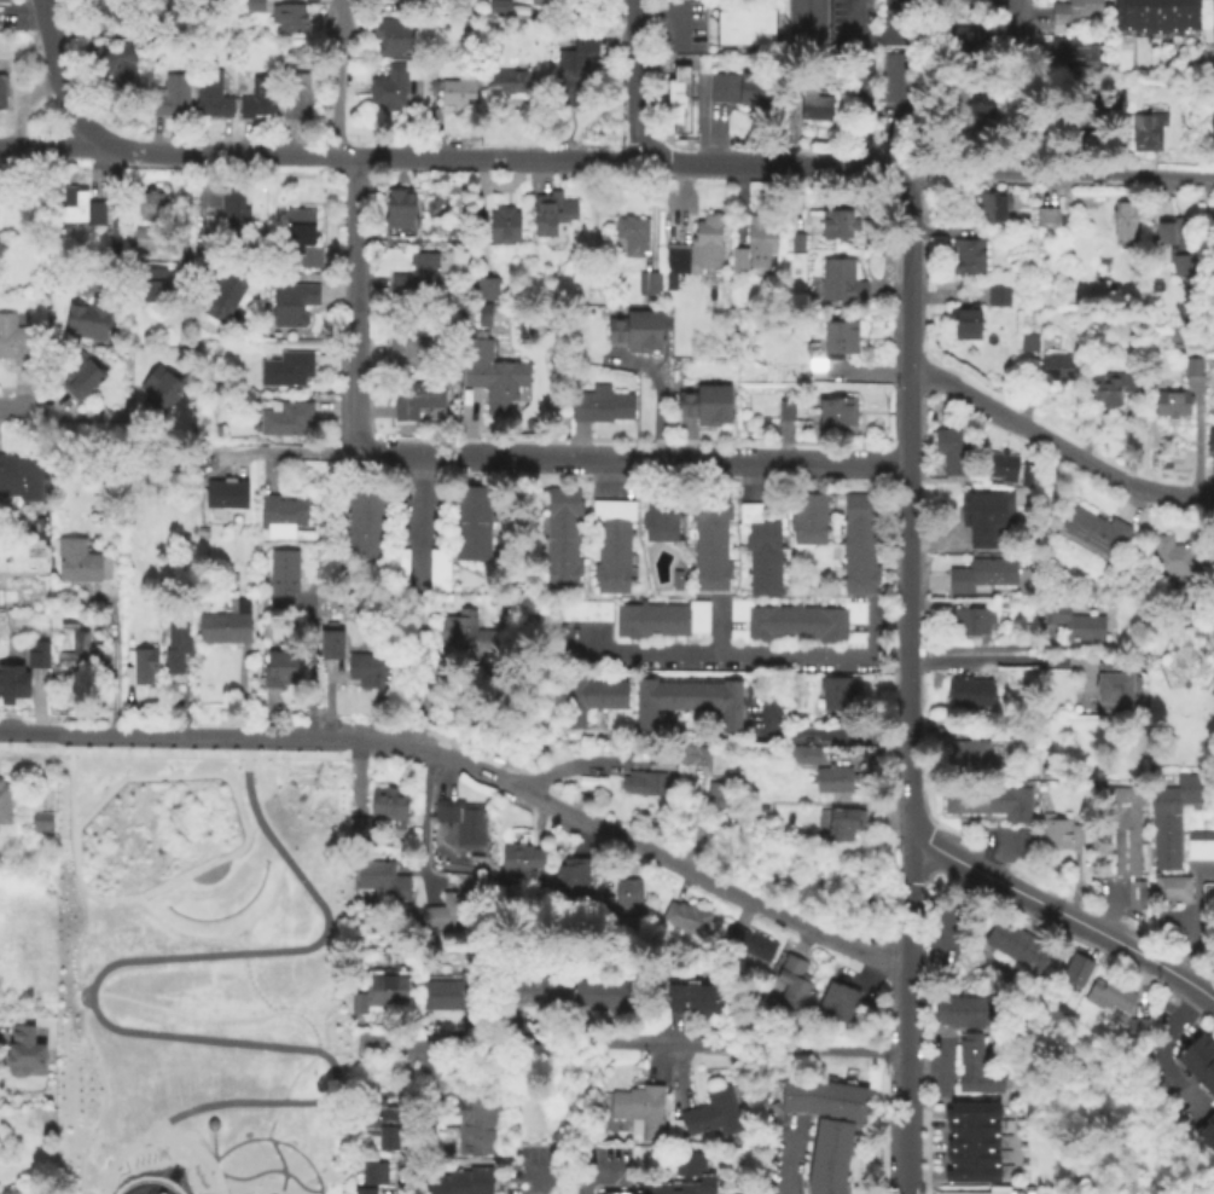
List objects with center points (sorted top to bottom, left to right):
building: (2, 0)
building: (252, 4)
building: (498, 4)
building: (548, 4)
building: (972, 5)
building: (104, 11)
road: (22, 13)
building: (1073, 15)
building: (287, 16)
building: (1140, 16)
building: (1190, 16)
building: (1125, 17)
building: (1157, 18)
building: (1173, 18)
road: (676, 24)
building: (722, 25)
building: (737, 25)
building: (751, 25)
building: (765, 25)
road: (1015, 27)
building: (1212, 27)
building: (805, 29)
building: (394, 35)
road: (867, 45)
building: (962, 51)
building: (1076, 59)
building: (574, 64)
building: (118, 68)
road: (339, 80)
building: (509, 80)
road: (635, 80)
building: (893, 80)
road: (63, 82)
building: (676, 82)
building: (388, 86)
building: (457, 87)
building: (738, 87)
building: (2, 91)
building: (210, 92)
building: (1005, 92)
building: (169, 95)
building: (259, 95)
building: (296, 95)
building: (1119, 98)
building: (815, 103)
building: (980, 103)
road: (862, 106)
building: (676, 114)
building: (1212, 123)
building: (1144, 128)
building: (1082, 129)
road: (57, 147)
road: (511, 160)
road: (1061, 176)
building: (153, 203)
building: (79, 205)
building: (983, 205)
building: (397, 207)
road: (114, 208)
building: (232, 211)
building: (551, 213)
road: (196, 216)
building: (1045, 216)
building: (1123, 218)
building: (836, 222)
building: (504, 224)
building: (440, 231)
building: (629, 233)
building: (145, 237)
building: (298, 239)
building: (796, 239)
building: (754, 242)
building: (1178, 242)
building: (693, 249)
building: (966, 254)
building: (417, 276)
building: (647, 282)
building: (838, 282)
building: (151, 283)
building: (484, 286)
building: (997, 290)
building: (223, 292)
building: (292, 301)
road: (355, 301)
building: (88, 317)
building: (963, 320)
building: (635, 329)
building: (838, 336)
building: (13, 338)
building: (412, 340)
building: (1028, 341)
building: (1193, 341)
building: (1175, 343)
building: (1191, 365)
building: (286, 366)
building: (1055, 367)
building: (79, 373)
building: (494, 379)
building: (1110, 384)
building: (159, 386)
road: (656, 387)
building: (414, 396)
building: (1169, 401)
building: (599, 402)
building: (705, 402)
road: (11, 405)
building: (785, 405)
building: (835, 412)
road: (81, 415)
building: (286, 417)
building: (1209, 440)
road: (1056, 442)
road: (281, 448)
building: (951, 448)
road: (463, 454)
road: (646, 458)
road: (815, 462)
building: (999, 464)
building: (1024, 473)
building: (23, 475)
building: (330, 485)
building: (222, 493)
building: (559, 500)
building: (660, 504)
building: (710, 504)
building: (809, 506)
building: (858, 506)
building: (100, 511)
building: (280, 511)
building: (984, 512)
road: (417, 516)
building: (365, 517)
building: (612, 518)
building: (471, 520)
building: (40, 522)
building: (756, 522)
building: (557, 528)
building: (658, 528)
building: (1093, 528)
building: (709, 531)
building: (808, 531)
building: (855, 532)
building: (557, 553)
building: (856, 553)
building: (612, 555)
building: (762, 555)
building: (709, 556)
building: (1173, 556)
building: (79, 558)
building: (396, 567)
building: (438, 568)
building: (982, 572)
building: (281, 573)
building: (557, 575)
building: (675, 578)
building: (710, 578)
building: (609, 579)
building: (858, 579)
building: (763, 581)
building: (583, 608)
building: (687, 616)
building: (969, 618)
building: (629, 619)
building: (656, 619)
building: (751, 619)
building: (785, 619)
building: (806, 620)
building: (1073, 620)
building: (838, 621)
building: (226, 622)
road: (718, 625)
road: (873, 630)
building: (466, 633)
road: (907, 634)
building: (330, 642)
building: (175, 643)
road: (982, 644)
building: (75, 649)
building: (36, 653)
road: (112, 655)
road: (732, 656)
road: (1020, 659)
building: (143, 663)
road: (309, 665)
building: (370, 666)
building: (279, 667)
building: (58, 676)
building: (12, 680)
building: (1114, 682)
building: (833, 689)
building: (968, 690)
building: (588, 696)
building: (1061, 697)
road: (425, 699)
building: (687, 699)
building: (964, 728)
road: (811, 731)
road: (175, 735)
building: (803, 752)
building: (970, 752)
road: (179, 753)
building: (838, 753)
building: (695, 754)
road: (559, 765)
building: (832, 777)
building: (646, 782)
road: (239, 783)
building: (716, 795)
building: (957, 798)
building: (987, 798)
building: (4, 800)
building: (1016, 802)
road: (237, 810)
building: (381, 810)
building: (463, 819)
building: (843, 821)
building: (40, 822)
road: (250, 822)
road: (420, 822)
road: (695, 822)
building: (1125, 827)
building: (1062, 830)
building: (1171, 834)
building: (1024, 841)
road: (631, 844)
building: (1200, 844)
building: (519, 857)
building: (475, 858)
road: (226, 863)
road: (408, 865)
building: (575, 874)
building: (379, 877)
building: (627, 892)
building: (1134, 892)
building: (447, 908)
road: (1057, 911)
road: (1193, 916)
building: (690, 917)
road: (227, 934)
road: (234, 939)
building: (750, 941)
building: (1016, 943)
building: (1075, 968)
park: (198, 972)
road: (246, 972)
road: (77, 980)
building: (791, 983)
building: (532, 985)
building: (377, 992)
building: (447, 992)
building: (602, 993)
building: (1108, 993)
road: (1209, 995)
building: (827, 996)
building: (692, 997)
road: (1209, 997)
road: (92, 999)
road: (80, 1003)
building: (843, 1003)
building: (940, 1008)
building: (954, 1010)
building: (968, 1010)
building: (981, 1010)
road: (295, 1012)
building: (1134, 1027)
road: (639, 1042)
road: (349, 1048)
building: (22, 1049)
road: (1160, 1049)
building: (969, 1050)
building: (1198, 1060)
road: (941, 1065)
road: (923, 1066)
building: (978, 1080)
building: (821, 1096)
building: (970, 1108)
building: (633, 1109)
building: (710, 1112)
road: (925, 1112)
building: (429, 1118)
building: (379, 1120)
building: (477, 1121)
building: (971, 1128)
building: (1206, 1132)
road: (194, 1134)
road: (164, 1136)
road: (275, 1138)
road: (906, 1138)
building: (971, 1142)
road: (211, 1144)
building: (972, 1154)
building: (827, 1155)
road: (780, 1161)
road: (564, 1167)
road: (271, 1169)
building: (372, 1170)
building: (970, 1170)
building: (693, 1172)
road: (146, 1176)
building: (460, 1181)
road: (401, 1182)
road: (271, 1188)
road: (906, 1188)
building: (364, 1189)
building: (968, 1192)
building: (615, 1193)

